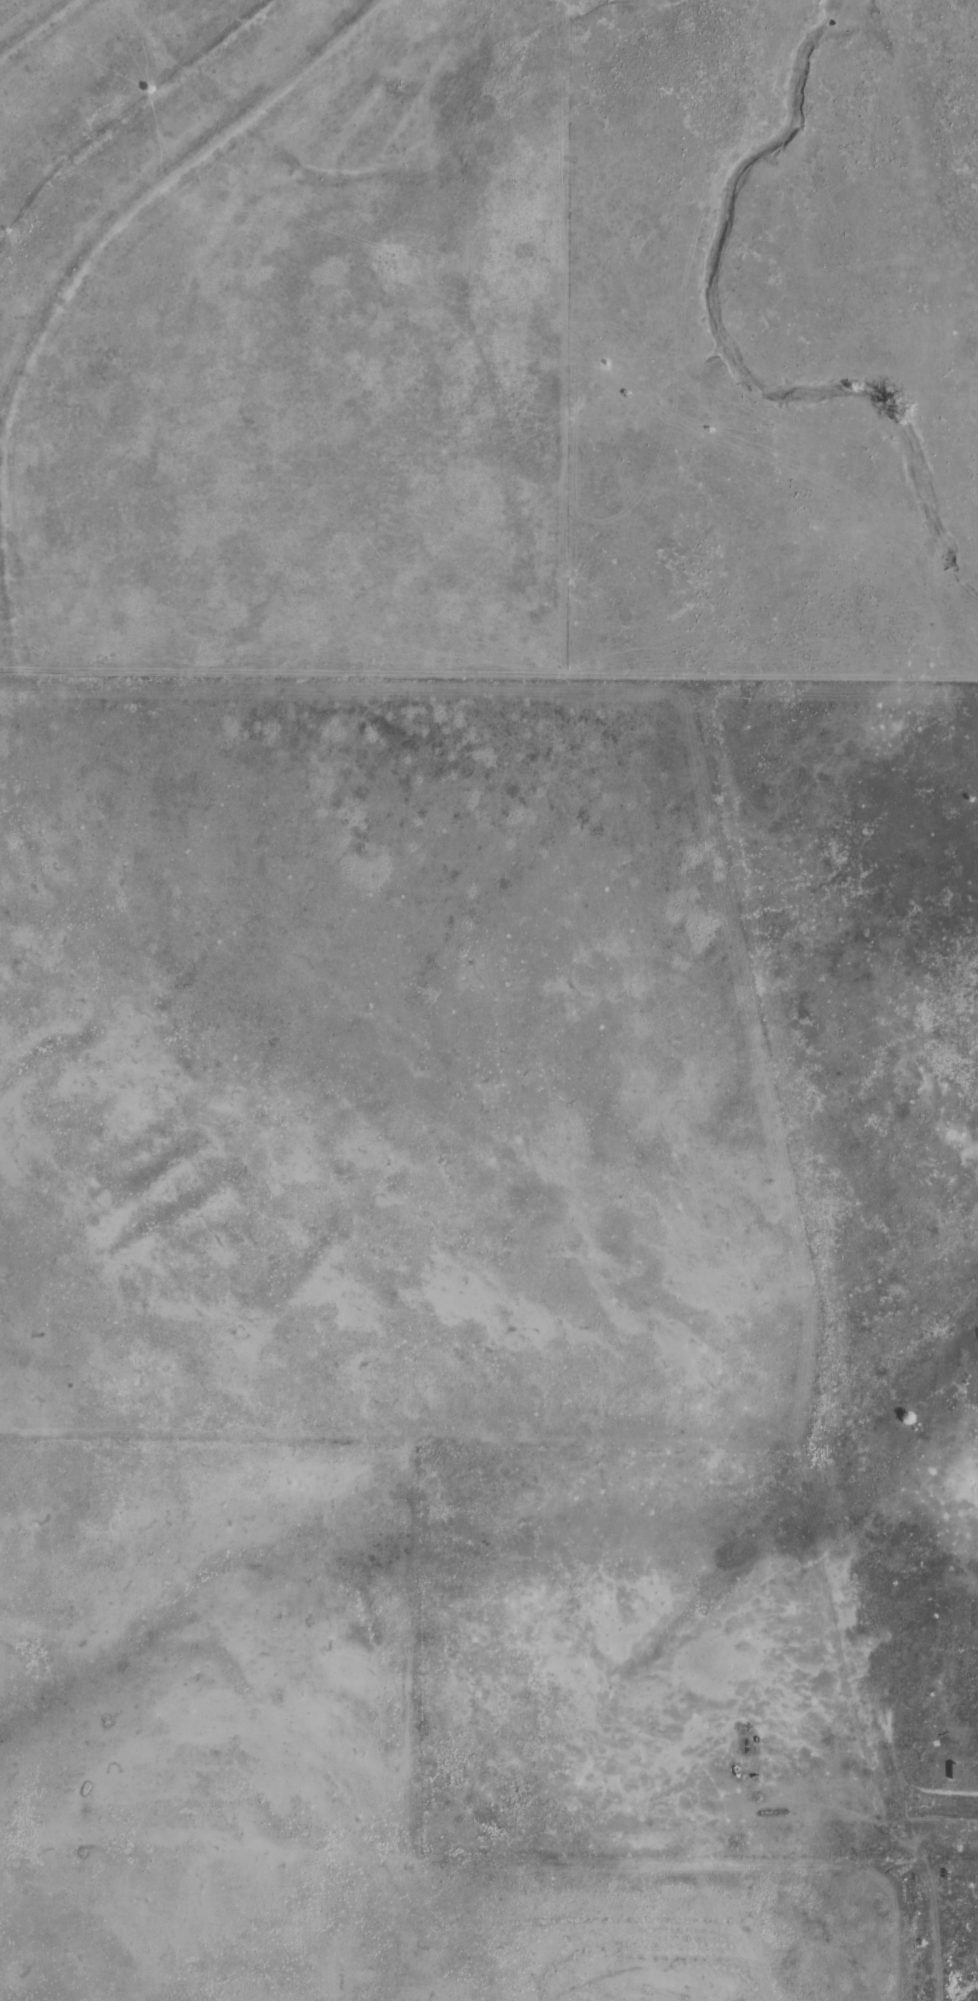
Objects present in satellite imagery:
building: (950, 1773)

